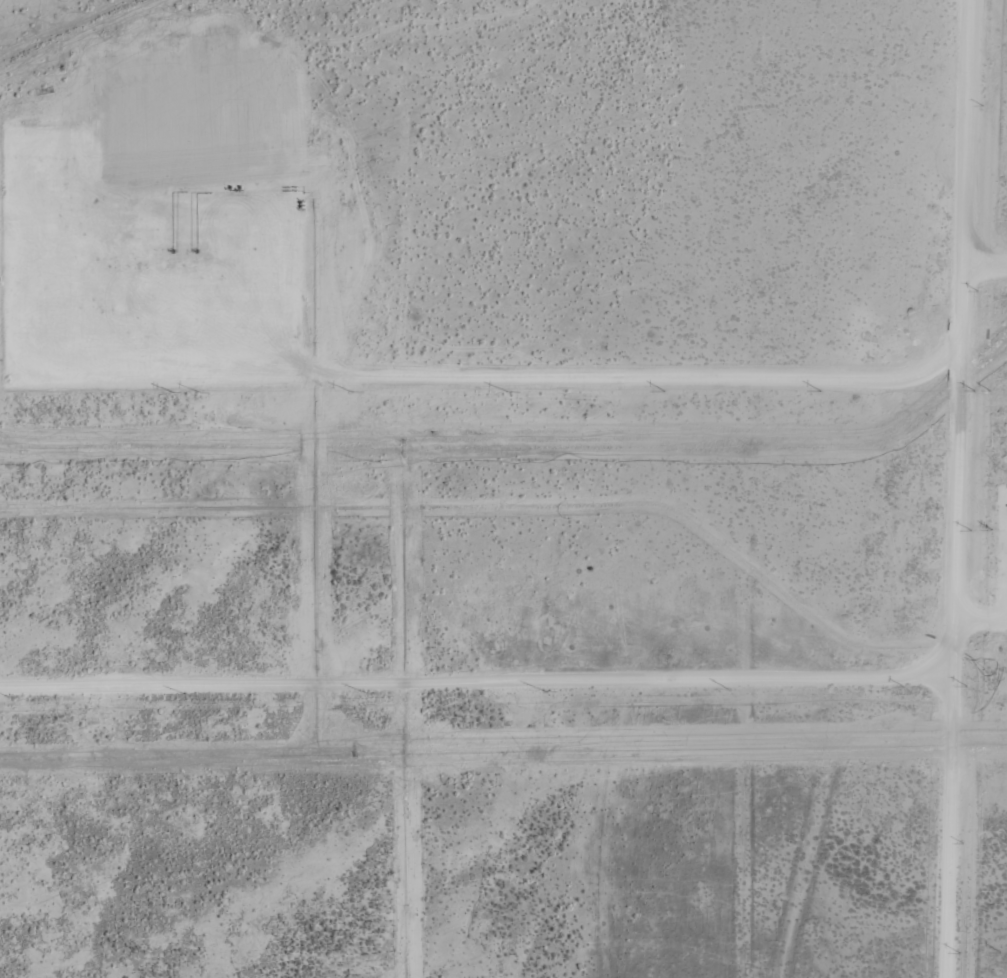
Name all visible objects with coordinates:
road: (878, 488)

